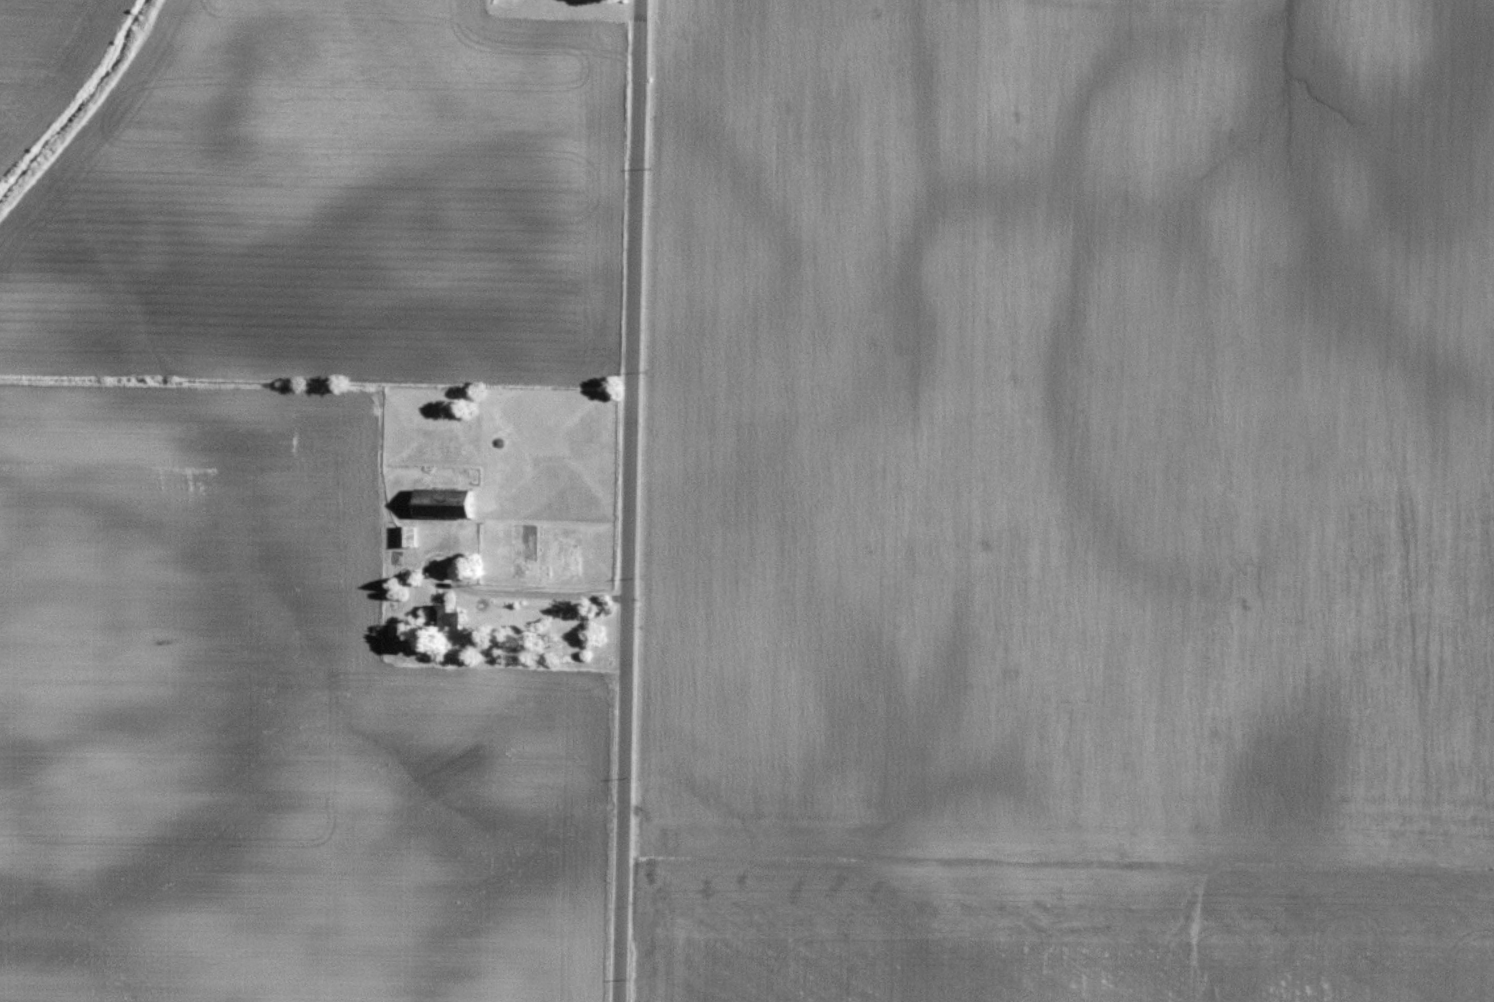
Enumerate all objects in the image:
building: (449, 499)
road: (630, 501)
road: (508, 589)
building: (449, 609)
building: (399, 626)

